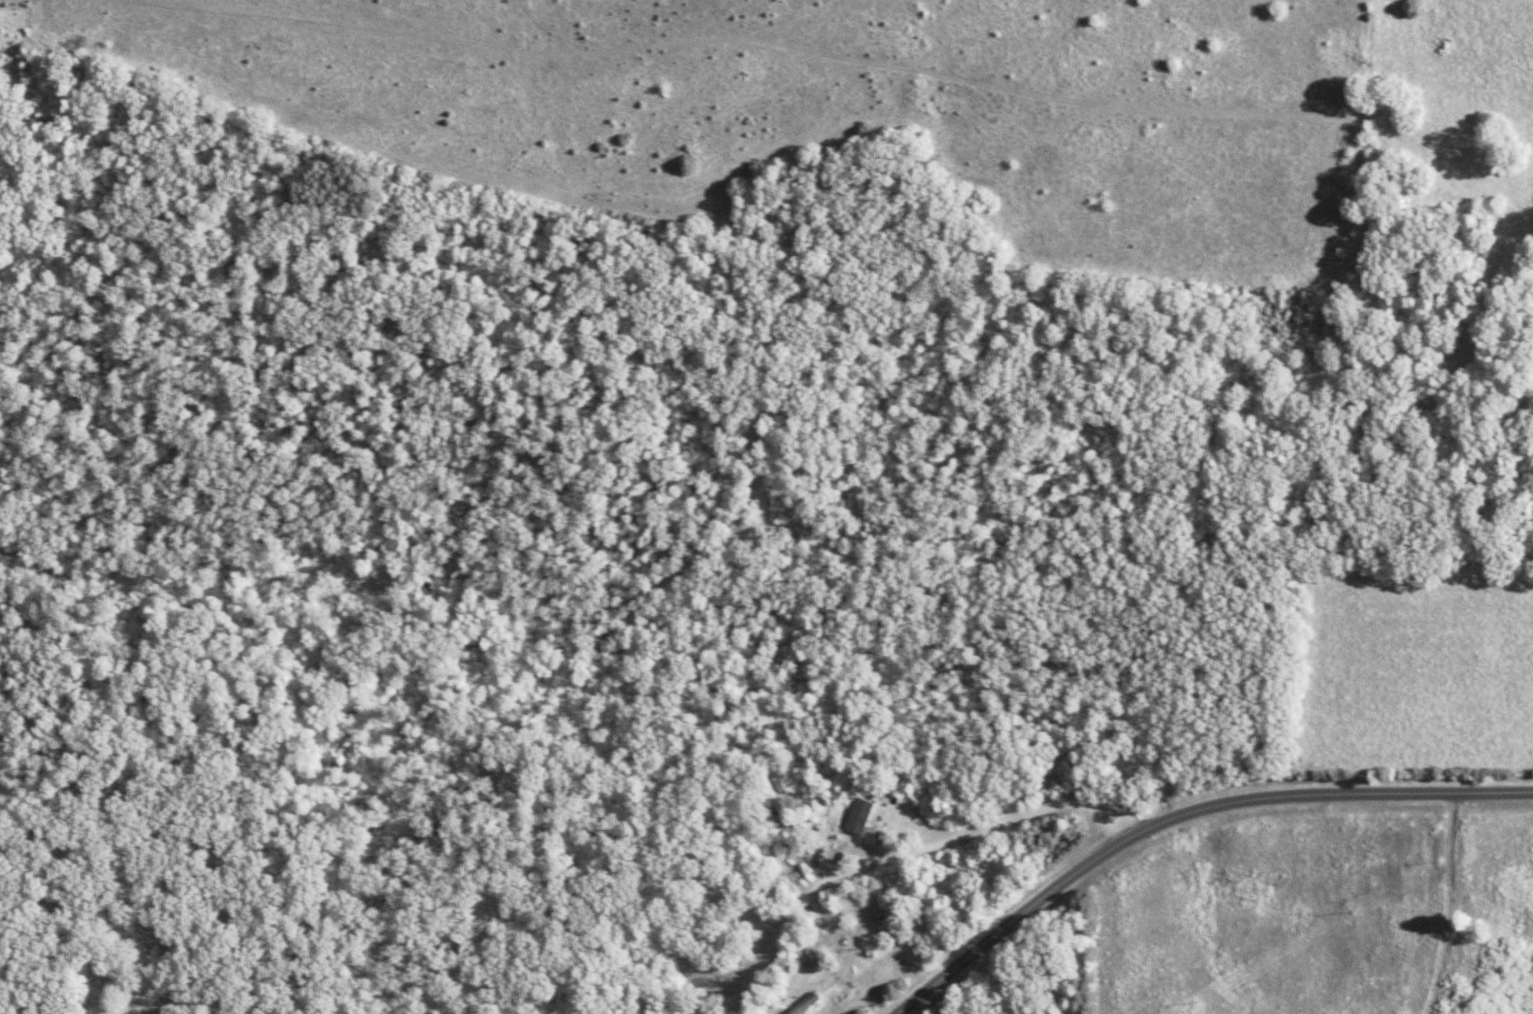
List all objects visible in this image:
road: (1185, 814)
building: (866, 815)
road: (906, 852)

